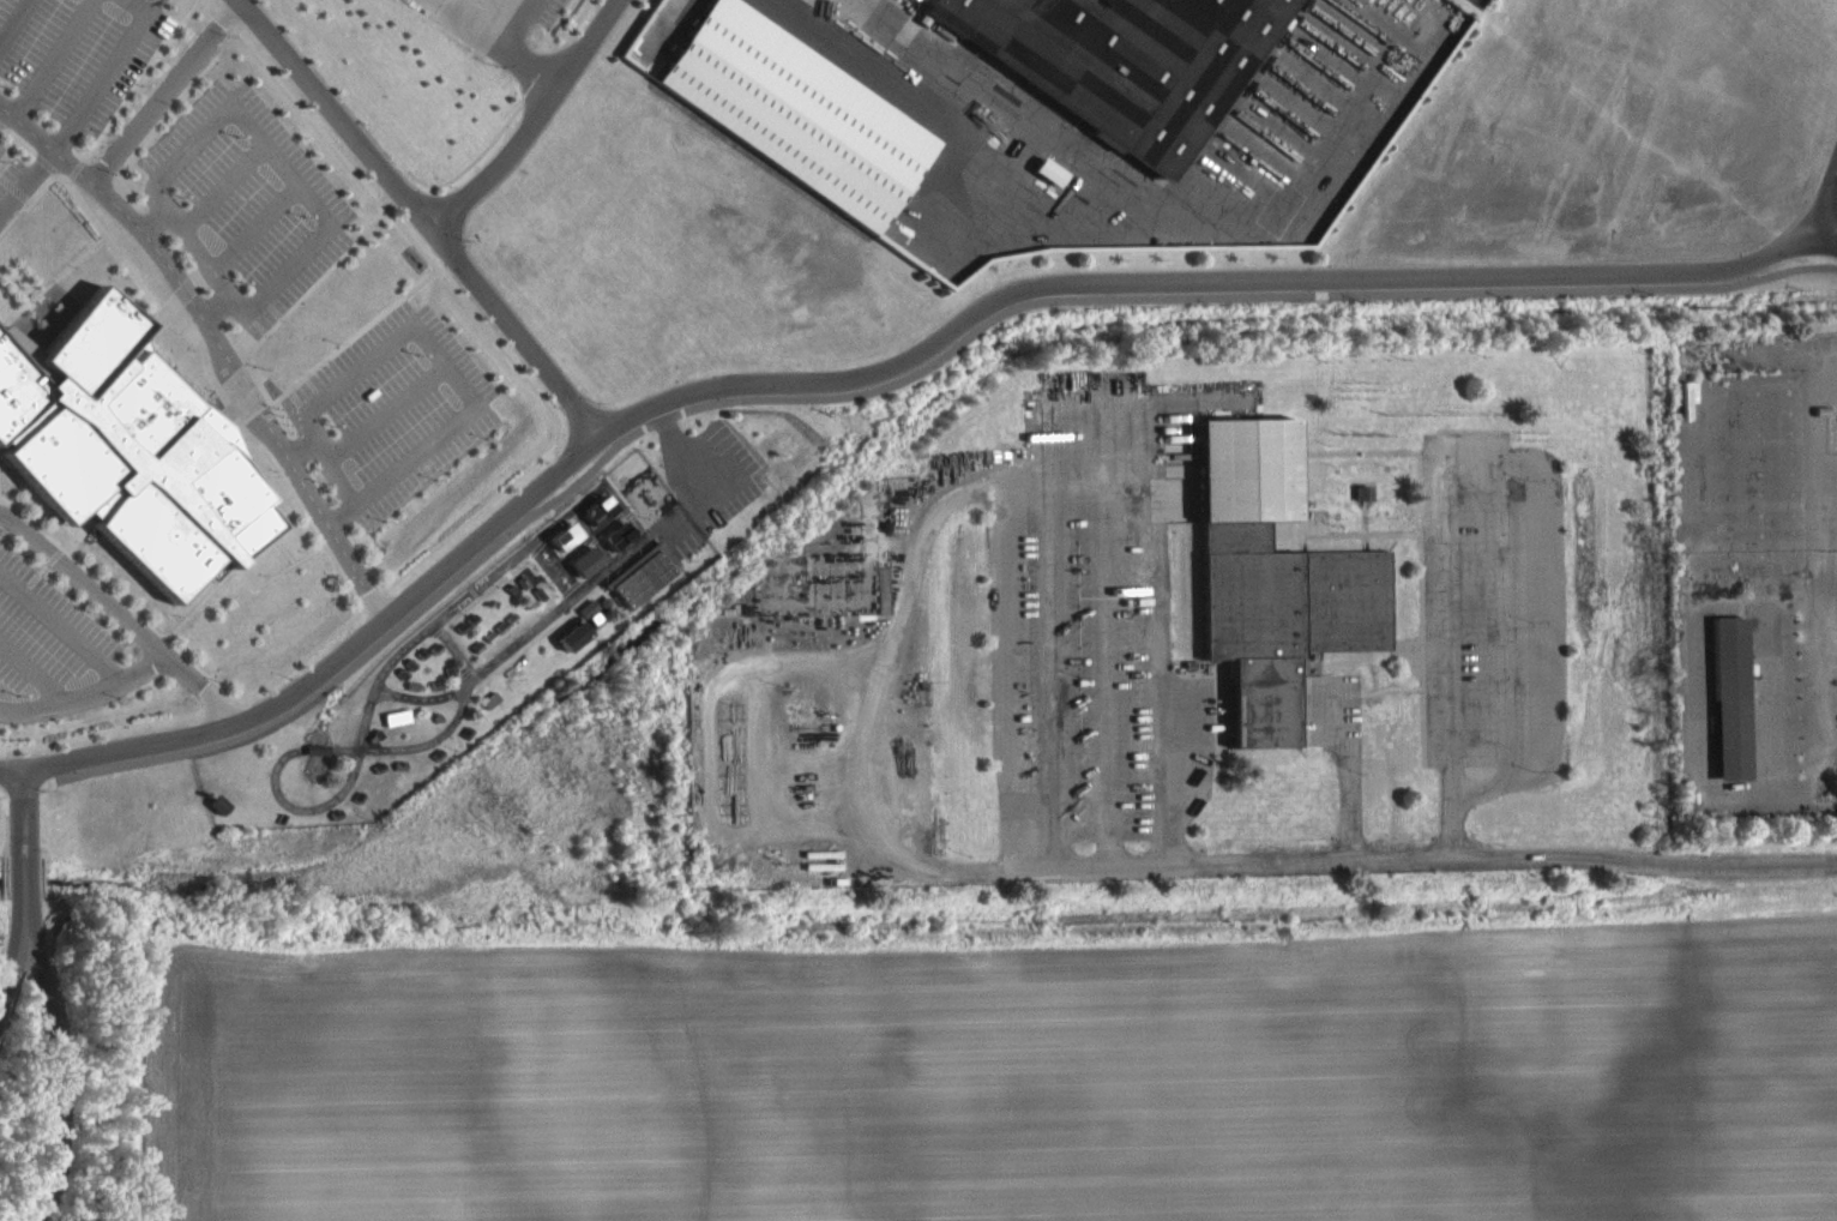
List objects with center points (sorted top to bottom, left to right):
parking lot: (1482, 4)
parking lot: (552, 12)
road: (459, 19)
road: (16, 23)
road: (519, 24)
road: (588, 42)
parking lot: (74, 53)
road: (54, 59)
road: (524, 61)
building: (1126, 62)
road: (106, 72)
road: (122, 90)
road: (163, 90)
road: (2, 110)
road: (329, 112)
road: (501, 131)
building: (784, 133)
road: (261, 145)
road: (501, 164)
road: (25, 176)
road: (222, 190)
road: (25, 198)
road: (1827, 199)
parking lot: (240, 202)
road: (84, 213)
road: (155, 222)
road: (253, 230)
road: (1207, 279)
road: (313, 283)
road: (510, 327)
road: (429, 337)
road: (213, 344)
road: (874, 389)
road: (386, 408)
parking lot: (387, 409)
road: (259, 444)
building: (126, 449)
road: (301, 450)
road: (1505, 455)
road: (524, 470)
parking lot: (713, 471)
road: (1067, 475)
road: (1829, 521)
road: (83, 566)
road: (237, 571)
road: (122, 614)
road: (1505, 618)
road: (62, 626)
parking lot: (52, 648)
building: (571, 649)
road: (339, 660)
road: (200, 668)
road: (35, 670)
road: (1106, 670)
road: (1053, 672)
road: (89, 697)
building: (393, 730)
road: (710, 730)
road: (10, 769)
road: (1, 786)
road: (1709, 788)
road: (1351, 794)
road: (7, 820)
road: (23, 847)
road: (1342, 859)
road: (6, 876)
road: (7, 930)
road: (16, 975)
road: (62, 1072)

